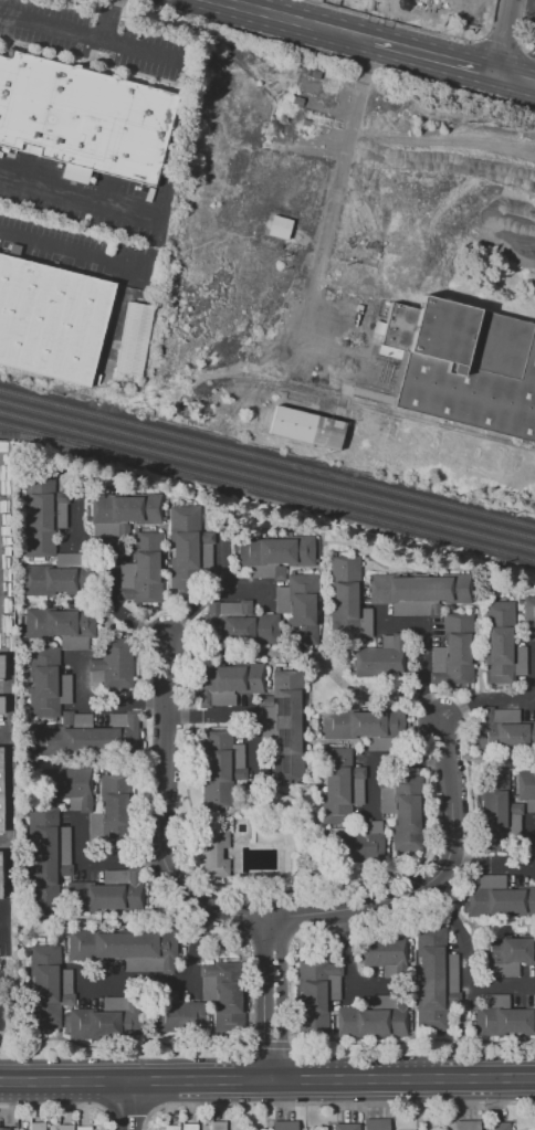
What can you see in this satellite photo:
building: (453, 1)
road: (384, 6)
road: (304, 11)
road: (266, 12)
road: (336, 14)
road: (485, 15)
road: (407, 19)
road: (111, 22)
road: (525, 23)
road: (340, 31)
road: (481, 33)
road: (503, 35)
road: (492, 38)
road: (92, 40)
road: (431, 54)
road: (506, 75)
road: (526, 80)
building: (83, 119)
road: (335, 194)
road: (80, 197)
building: (277, 226)
road: (64, 253)
building: (50, 319)
building: (133, 340)
building: (470, 369)
building: (301, 425)
railway: (35, 436)
railway: (266, 458)
railway: (267, 469)
railway: (267, 482)
road: (91, 483)
road: (75, 488)
railway: (267, 492)
building: (125, 508)
building: (42, 515)
road: (221, 532)
building: (187, 546)
building: (276, 550)
road: (50, 559)
road: (220, 562)
road: (107, 566)
road: (166, 567)
building: (141, 570)
building: (279, 572)
building: (59, 577)
building: (419, 591)
road: (361, 592)
road: (206, 596)
building: (281, 599)
road: (65, 601)
building: (346, 601)
building: (302, 610)
road: (445, 610)
building: (528, 617)
building: (59, 623)
building: (238, 624)
road: (517, 624)
road: (52, 642)
road: (352, 644)
building: (501, 644)
road: (476, 647)
road: (534, 647)
road: (240, 652)
building: (454, 652)
road: (417, 656)
building: (381, 657)
building: (111, 665)
building: (1, 669)
road: (327, 669)
building: (46, 683)
building: (225, 683)
road: (270, 686)
road: (534, 699)
road: (508, 700)
road: (98, 704)
building: (0, 707)
road: (233, 715)
road: (59, 718)
building: (361, 724)
building: (281, 728)
road: (311, 730)
building: (504, 730)
building: (88, 735)
road: (344, 742)
road: (381, 758)
road: (491, 758)
road: (128, 763)
building: (220, 768)
building: (67, 784)
building: (339, 785)
building: (526, 785)
building: (0, 791)
road: (510, 793)
road: (52, 801)
building: (529, 805)
building: (402, 809)
building: (493, 811)
building: (109, 812)
road: (158, 816)
road: (218, 816)
road: (532, 820)
road: (346, 823)
road: (318, 826)
building: (360, 843)
building: (48, 847)
road: (388, 851)
building: (213, 854)
road: (99, 859)
road: (510, 864)
road: (233, 866)
road: (532, 872)
road: (431, 880)
building: (497, 897)
road: (27, 901)
road: (44, 916)
road: (140, 918)
road: (495, 925)
building: (120, 947)
road: (60, 948)
building: (382, 950)
building: (501, 952)
road: (410, 963)
road: (464, 964)
road: (345, 967)
building: (436, 973)
road: (175, 982)
building: (223, 985)
building: (48, 986)
road: (397, 988)
building: (316, 993)
road: (273, 999)
road: (64, 1006)
road: (209, 1008)
road: (331, 1008)
road: (459, 1012)
building: (177, 1013)
building: (501, 1017)
building: (374, 1018)
building: (106, 1020)
road: (265, 1043)
road: (267, 1079)
road: (331, 1102)
road: (126, 1105)
road: (63, 1106)
road: (128, 1107)
building: (220, 1124)
building: (376, 1124)
building: (284, 1126)
building: (464, 1126)
building: (36, 1127)
building: (65, 1127)
building: (171, 1127)
building: (189, 1127)
building: (346, 1127)
building: (496, 1127)
building: (3, 1128)
building: (83, 1128)

